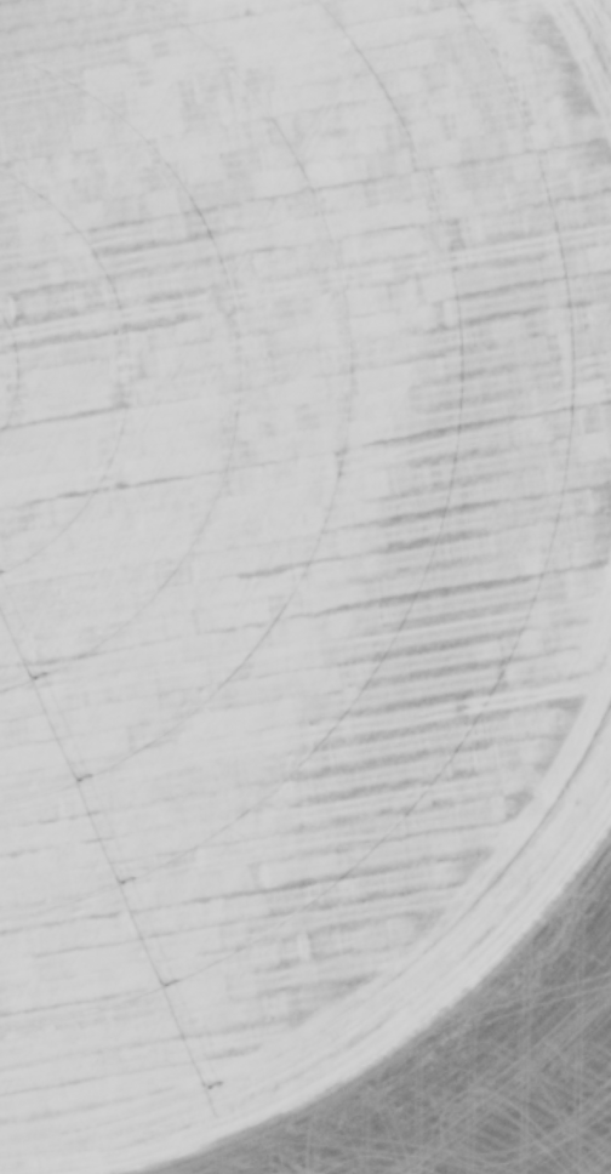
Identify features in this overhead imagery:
crop: (290, 528)

